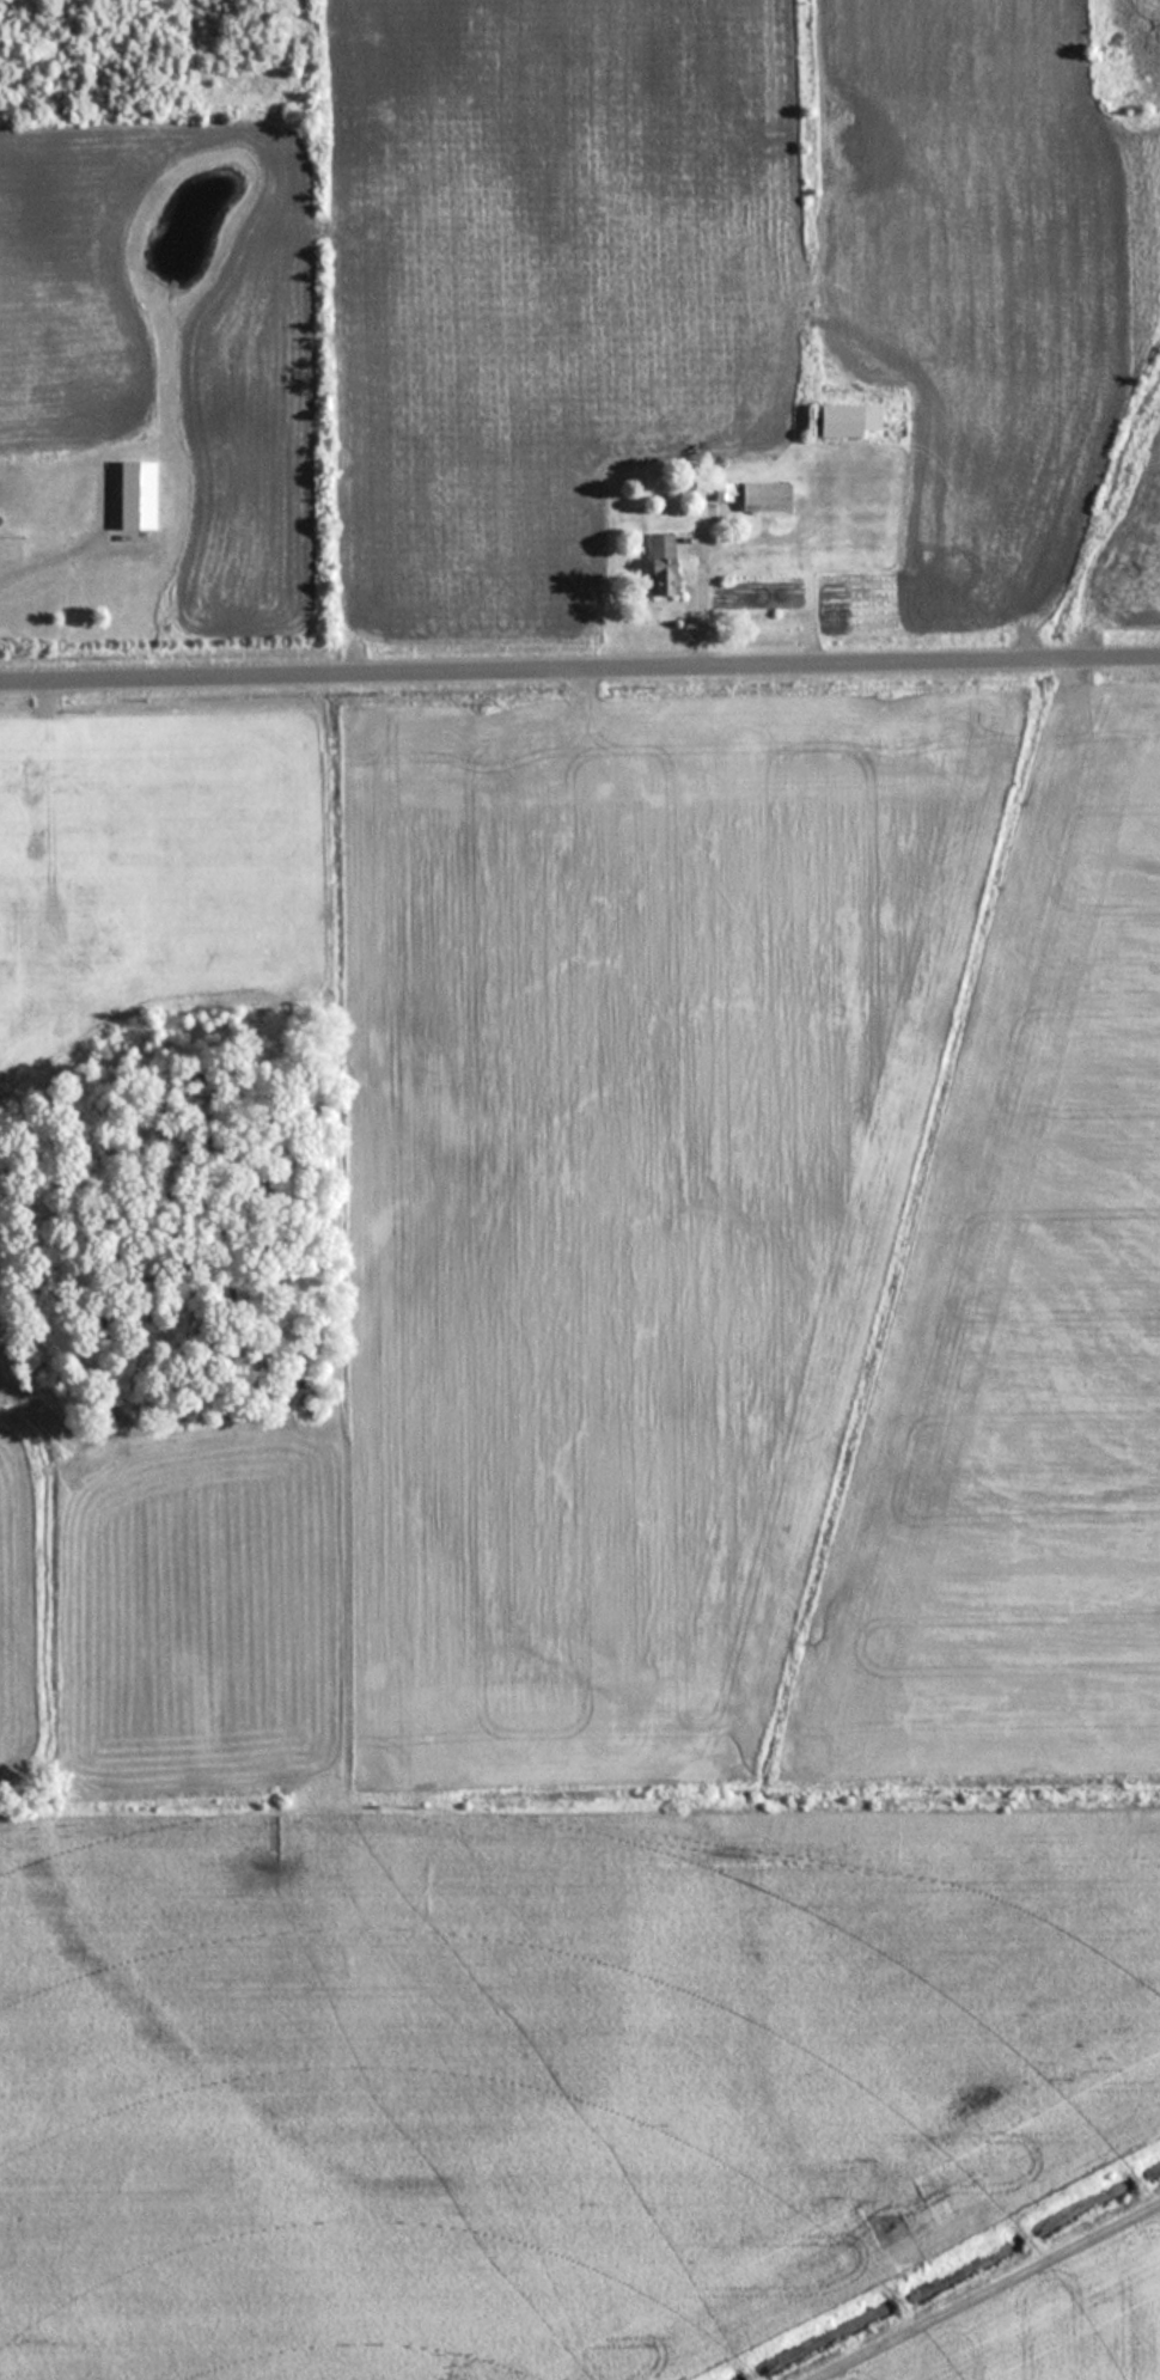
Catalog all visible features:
building: (841, 420)
building: (130, 494)
building: (758, 496)
building: (657, 565)
road: (580, 675)

